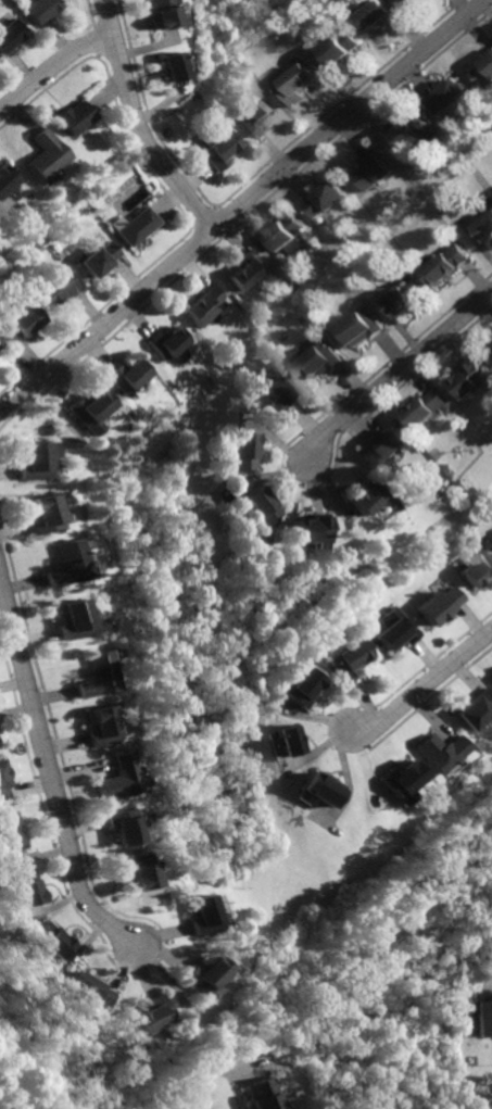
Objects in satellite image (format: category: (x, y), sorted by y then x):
building: (409, 0)
building: (414, 1)
building: (40, 10)
building: (378, 13)
building: (155, 14)
building: (10, 36)
building: (342, 48)
building: (166, 66)
road: (51, 70)
building: (483, 73)
building: (300, 85)
building: (447, 99)
building: (73, 117)
building: (253, 118)
road: (133, 125)
building: (412, 134)
building: (216, 152)
building: (45, 156)
building: (370, 175)
building: (4, 178)
building: (324, 202)
road: (241, 203)
building: (134, 227)
building: (484, 229)
building: (288, 234)
building: (94, 260)
building: (444, 265)
building: (247, 270)
building: (50, 291)
building: (406, 299)
building: (203, 305)
building: (14, 324)
building: (359, 329)
building: (163, 340)
building: (321, 364)
road: (398, 370)
building: (121, 376)
building: (474, 378)
building: (275, 400)
building: (427, 409)
building: (80, 413)
building: (389, 448)
building: (247, 451)
building: (31, 459)
building: (374, 497)
building: (266, 507)
building: (42, 517)
building: (319, 531)
building: (62, 567)
building: (480, 571)
building: (443, 608)
building: (70, 620)
building: (401, 632)
building: (355, 661)
building: (89, 678)
road: (425, 688)
building: (305, 689)
building: (476, 711)
building: (94, 729)
building: (0, 730)
building: (293, 742)
building: (441, 752)
road: (49, 768)
building: (401, 779)
building: (114, 781)
building: (5, 784)
building: (324, 792)
building: (119, 824)
building: (12, 834)
building: (137, 872)
building: (29, 886)
building: (197, 917)
building: (54, 937)
building: (200, 973)
building: (90, 987)
road: (485, 987)
building: (152, 1012)
building: (482, 1018)
road: (184, 1021)
road: (227, 1066)
building: (255, 1094)

